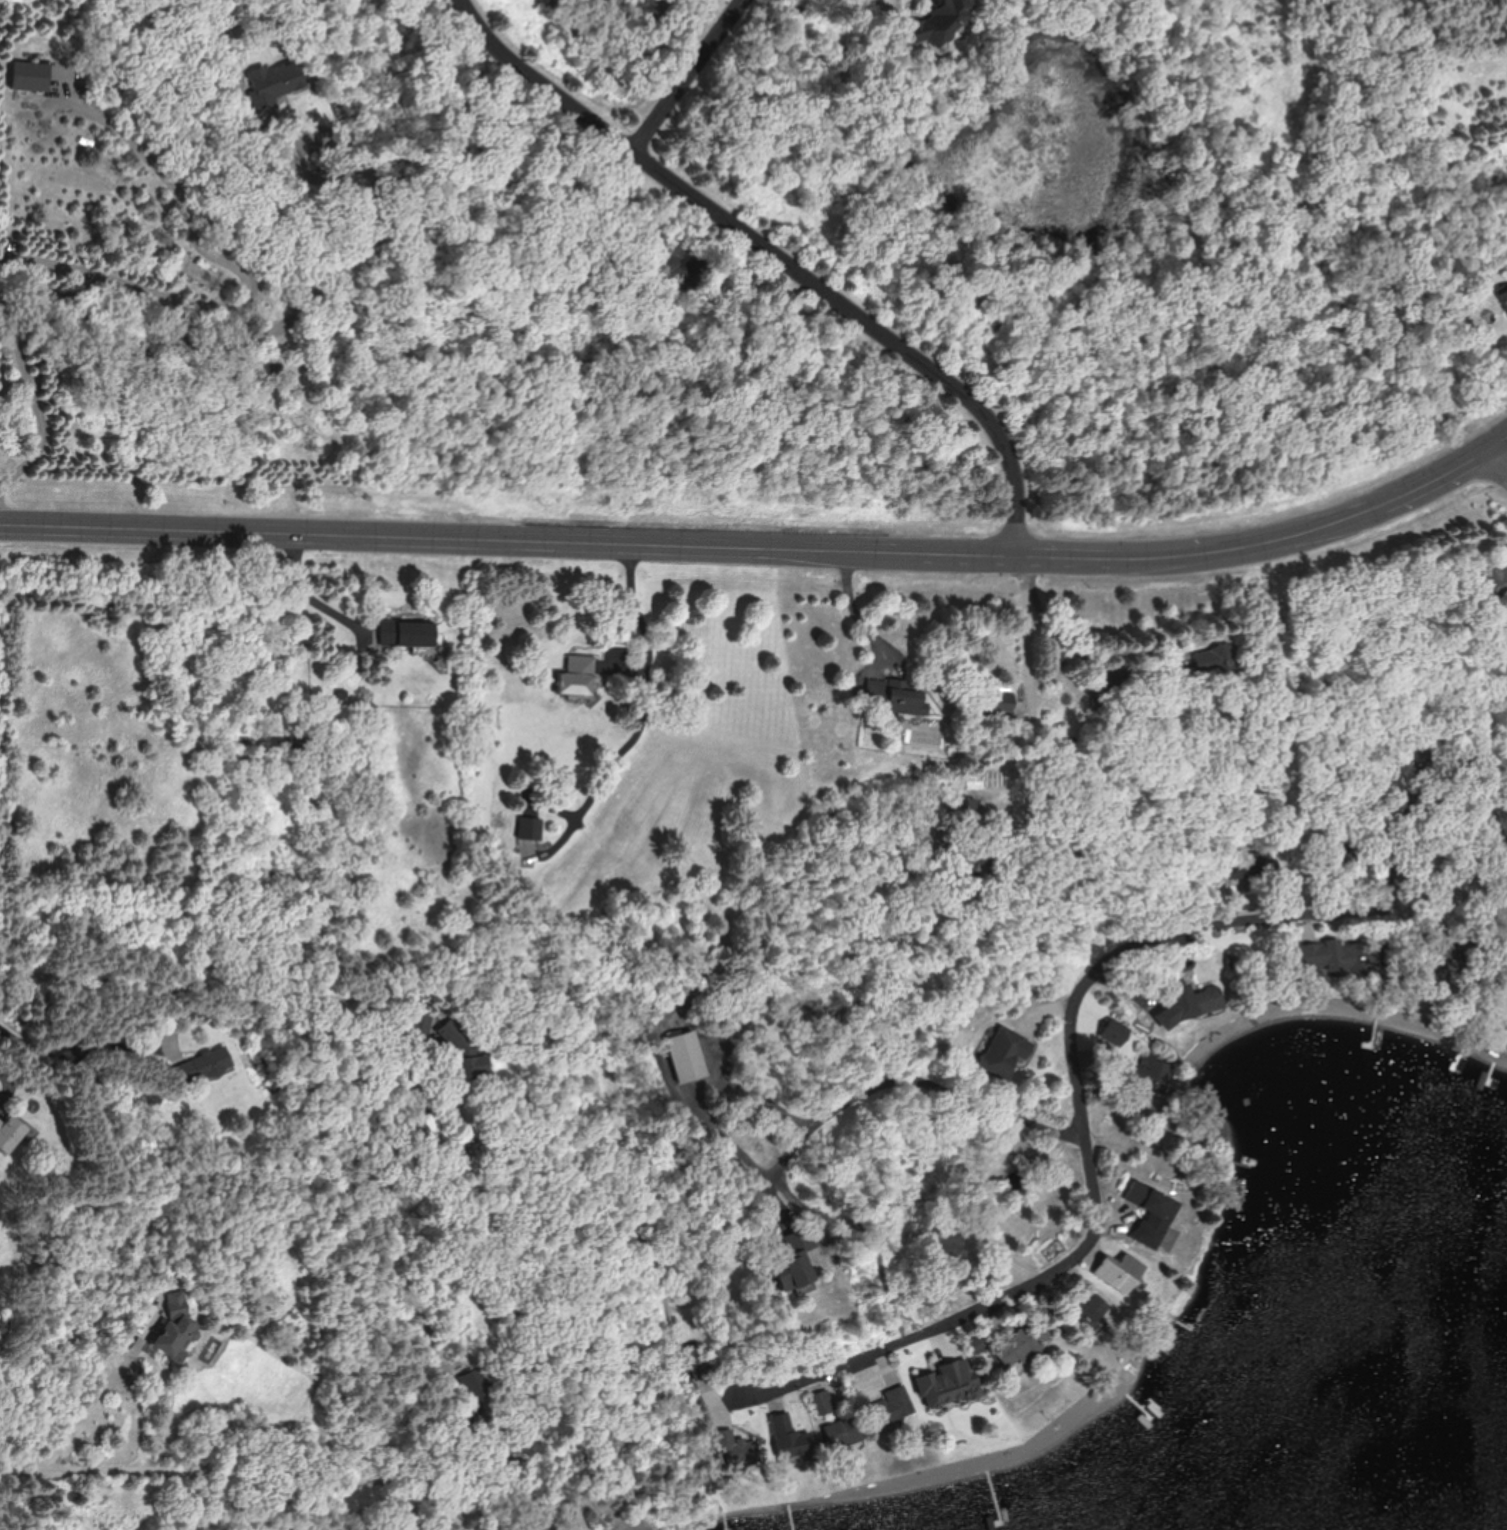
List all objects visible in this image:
road: (741, 0)
building: (941, 22)
road: (687, 75)
building: (30, 76)
building: (277, 84)
road: (184, 197)
road: (773, 261)
road: (155, 289)
building: (1504, 296)
road: (1498, 458)
road: (767, 554)
building: (1494, 581)
road: (635, 610)
road: (861, 616)
building: (407, 632)
building: (1221, 659)
road: (1026, 669)
building: (578, 676)
building: (898, 696)
building: (1102, 699)
building: (1000, 702)
road: (608, 775)
building: (967, 810)
building: (531, 828)
building: (1253, 864)
building: (1346, 955)
road: (225, 991)
building: (1195, 1000)
building: (421, 1023)
road: (1073, 1031)
building: (1113, 1035)
building: (1006, 1052)
building: (686, 1057)
building: (214, 1061)
building: (1150, 1072)
road: (699, 1083)
road: (889, 1085)
building: (11, 1133)
building: (1152, 1212)
building: (798, 1261)
building: (1120, 1272)
building: (1090, 1312)
building: (177, 1329)
building: (1022, 1346)
building: (952, 1381)
building: (476, 1383)
road: (101, 1389)
building: (823, 1402)
building: (891, 1406)
building: (843, 1433)
building: (790, 1438)
building: (739, 1450)
road: (297, 1475)
building: (620, 1524)

